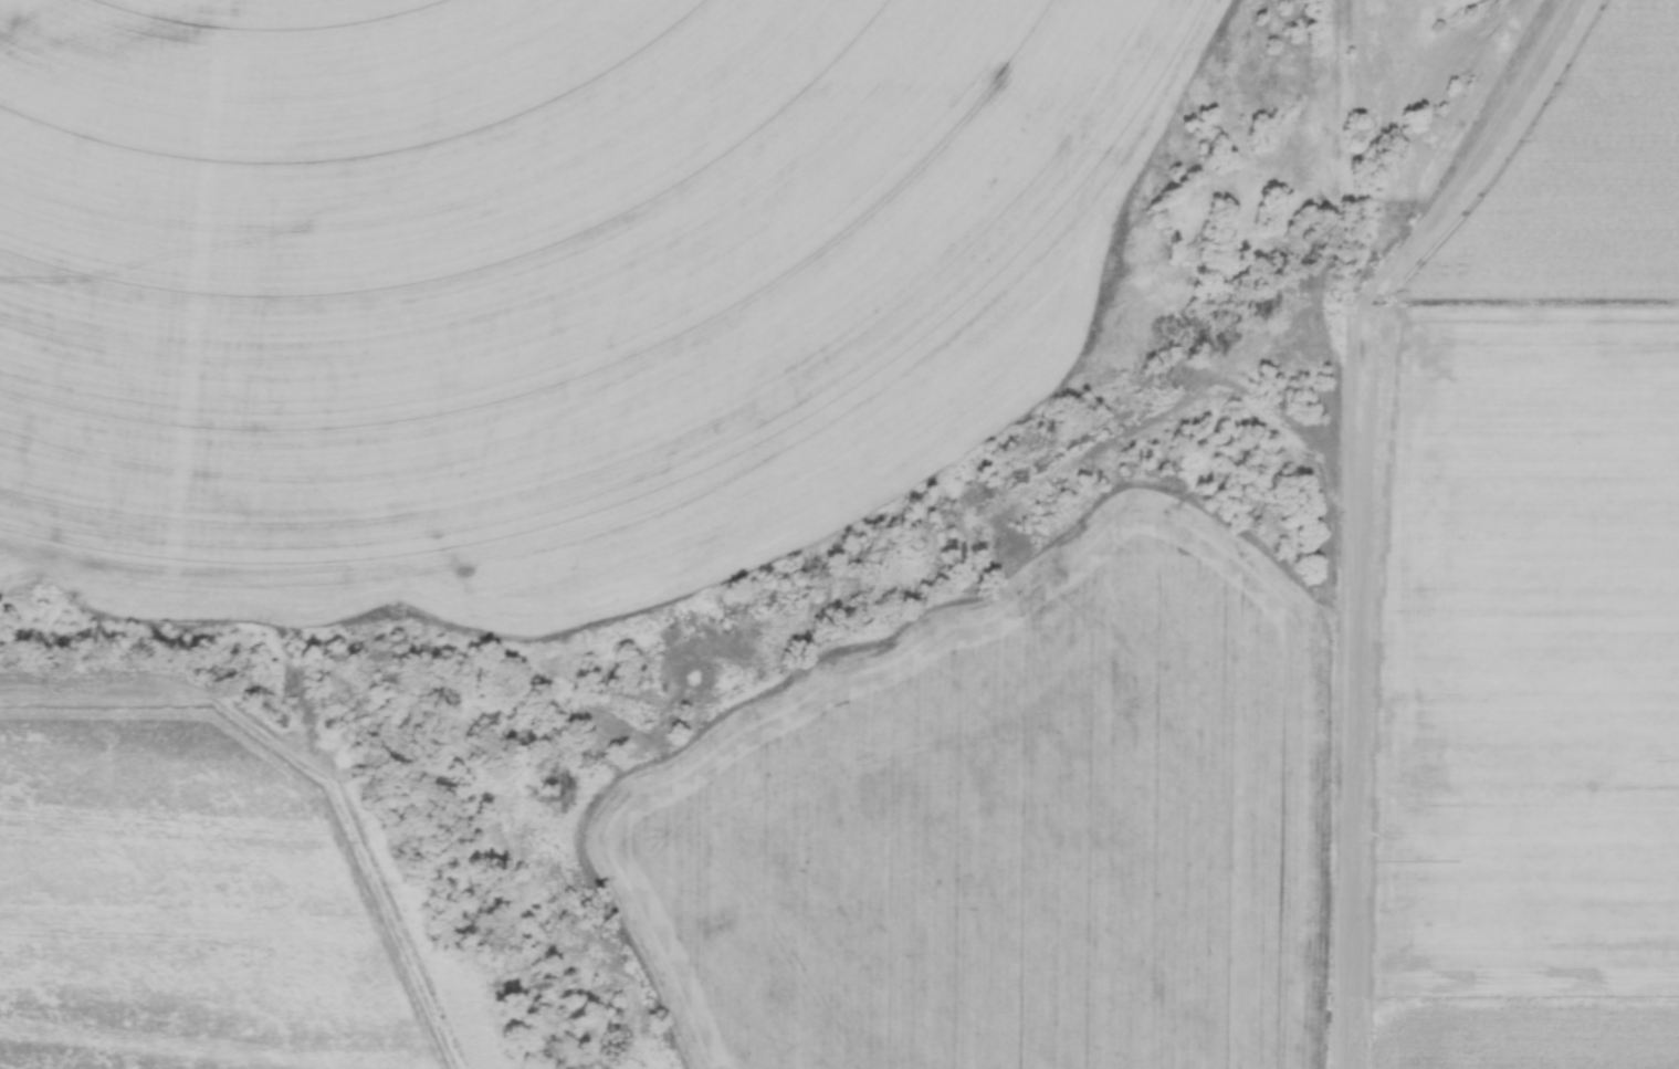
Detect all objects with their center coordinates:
road: (1346, 502)

